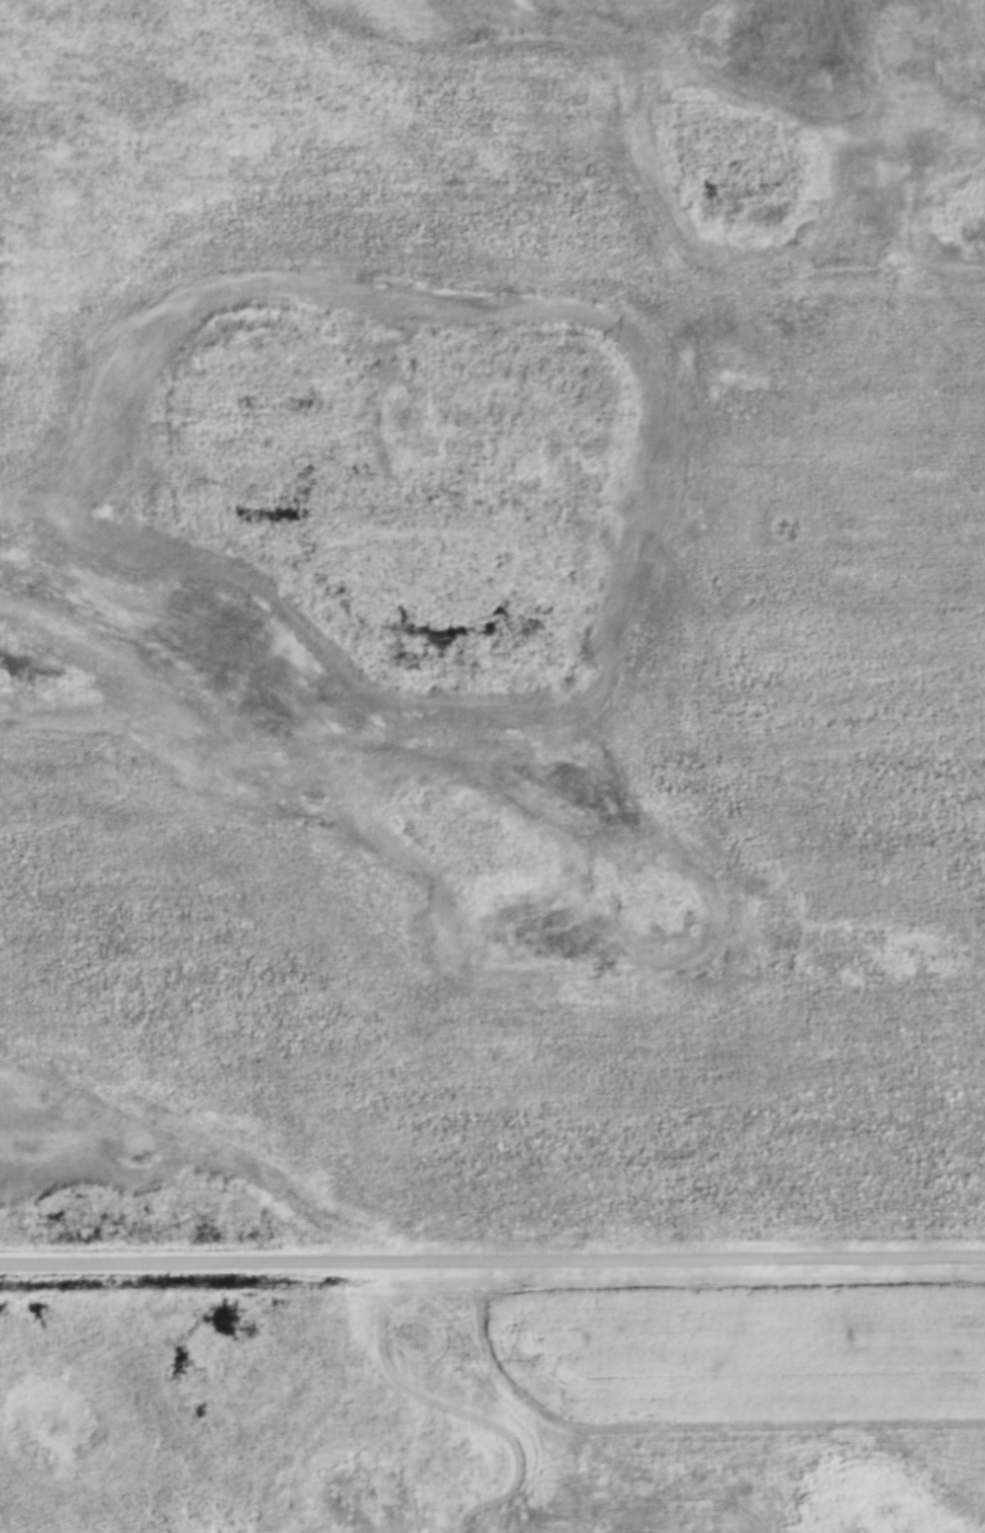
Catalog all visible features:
road: (492, 1263)

